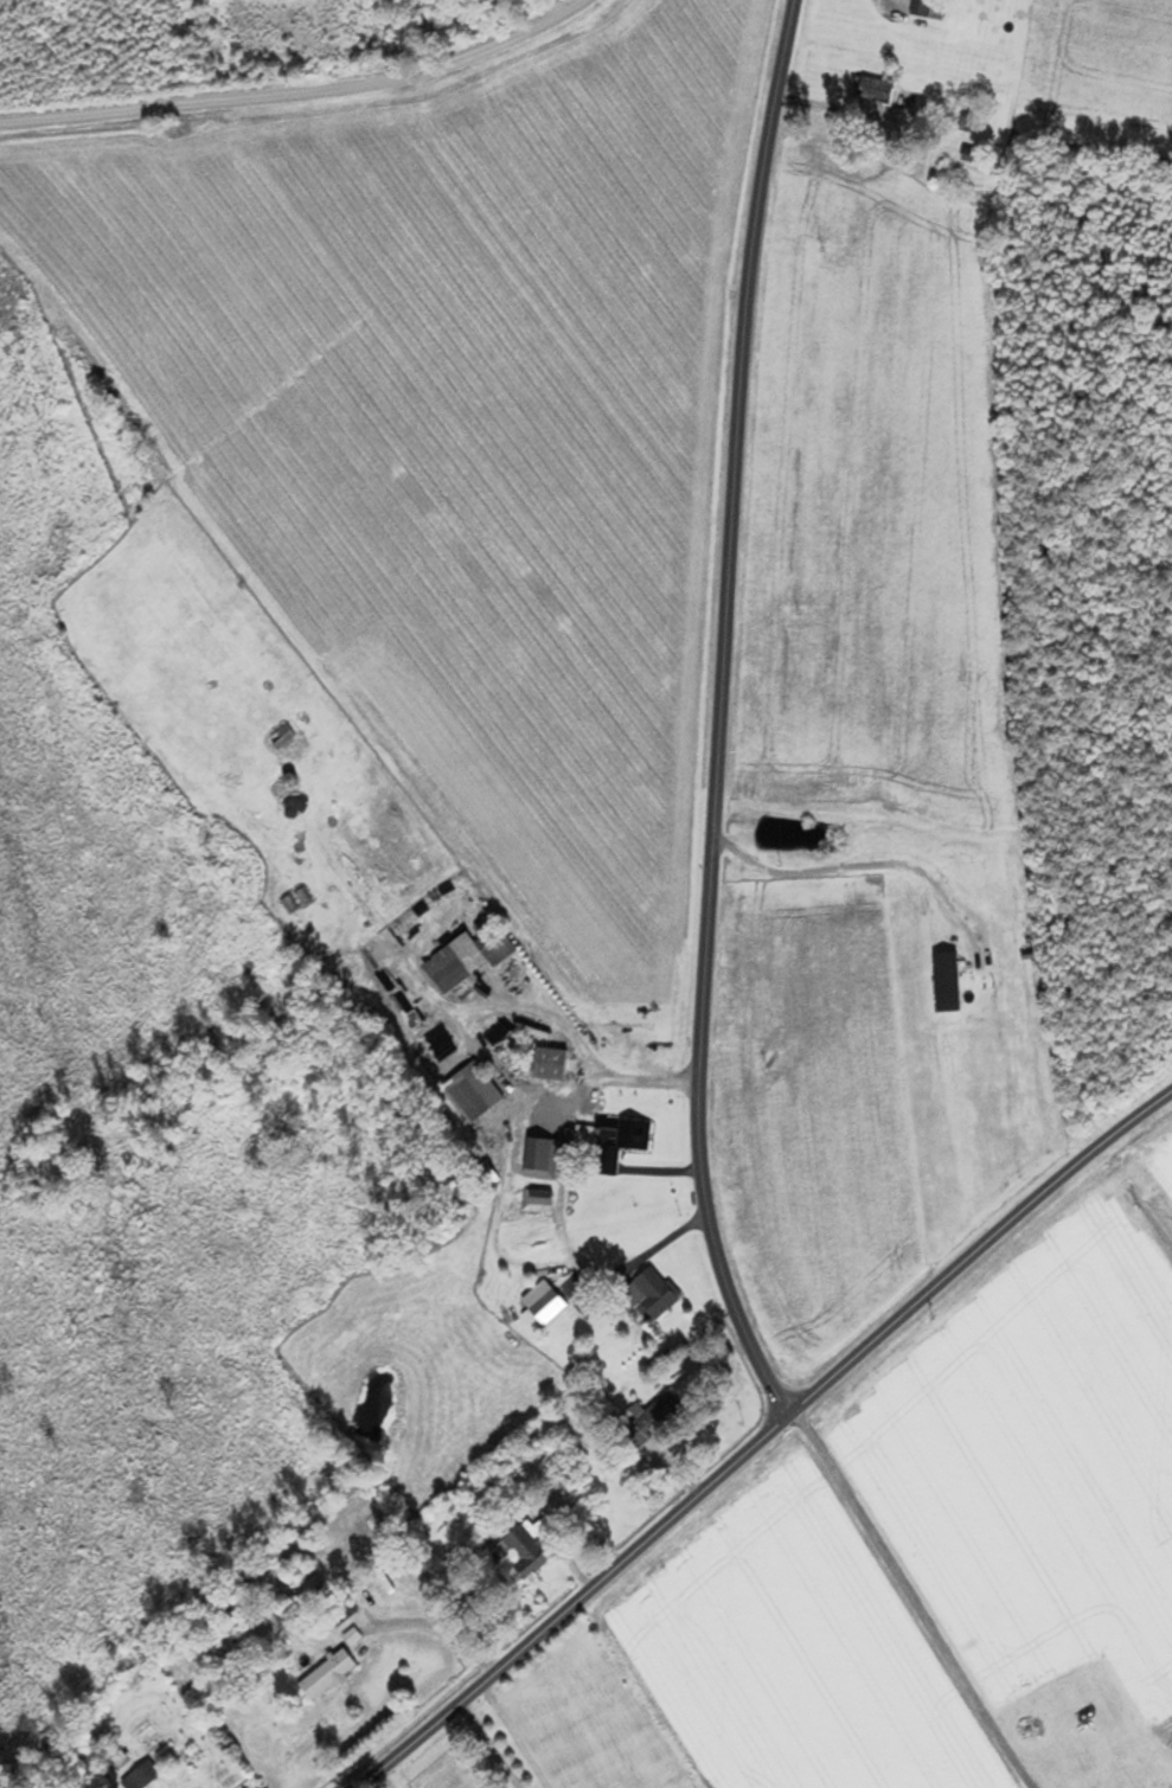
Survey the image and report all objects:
building: (926, 8)
building: (871, 90)
road: (301, 95)
building: (269, 656)
building: (238, 680)
building: (204, 707)
road: (717, 712)
building: (280, 737)
building: (469, 956)
road: (572, 1047)
building: (551, 1064)
building: (474, 1091)
building: (610, 1141)
building: (538, 1153)
building: (534, 1200)
road: (976, 1245)
building: (648, 1296)
building: (545, 1307)
building: (651, 1421)
building: (500, 1467)
building: (525, 1546)
road: (911, 1598)
road: (575, 1603)
road: (435, 1629)
building: (326, 1675)
building: (1120, 1730)
road: (511, 1736)
building: (141, 1777)

